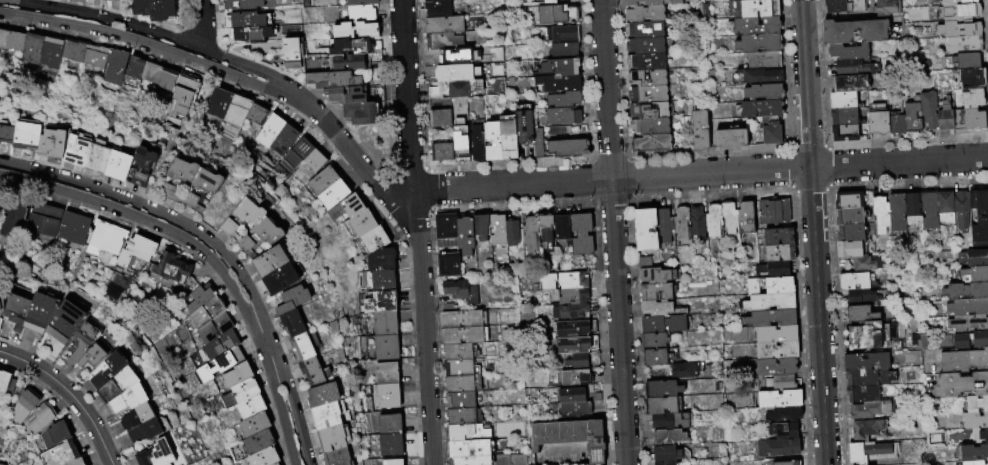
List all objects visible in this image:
building: (112, 0)
building: (433, 0)
building: (359, 2)
building: (548, 2)
building: (649, 2)
building: (956, 2)
building: (241, 5)
building: (844, 6)
building: (885, 7)
building: (437, 8)
building: (154, 9)
building: (752, 9)
building: (959, 11)
building: (360, 13)
building: (643, 14)
building: (555, 15)
road: (200, 24)
building: (444, 25)
building: (248, 26)
building: (753, 26)
building: (958, 29)
building: (643, 30)
road: (151, 31)
building: (855, 31)
building: (367, 34)
building: (564, 35)
building: (3, 39)
building: (443, 41)
building: (15, 42)
road: (145, 43)
building: (756, 43)
building: (963, 44)
building: (644, 45)
building: (32, 49)
building: (848, 50)
building: (72, 51)
building: (563, 51)
building: (50, 52)
building: (293, 52)
building: (458, 55)
building: (94, 56)
building: (760, 60)
building: (966, 60)
building: (645, 62)
building: (346, 63)
building: (114, 66)
building: (133, 66)
building: (853, 67)
building: (559, 68)
building: (456, 72)
building: (151, 73)
building: (760, 77)
building: (645, 78)
building: (970, 78)
building: (167, 79)
building: (331, 80)
building: (849, 83)
building: (557, 84)
building: (458, 89)
road: (605, 90)
building: (762, 93)
building: (646, 94)
building: (344, 95)
building: (971, 98)
building: (843, 99)
building: (563, 100)
building: (218, 103)
building: (758, 109)
building: (237, 110)
building: (647, 110)
building: (928, 110)
building: (359, 113)
building: (256, 115)
building: (844, 115)
building: (439, 117)
building: (561, 117)
building: (912, 117)
building: (973, 118)
building: (944, 119)
building: (877, 120)
building: (896, 124)
building: (648, 126)
building: (523, 127)
building: (269, 130)
building: (698, 130)
building: (844, 132)
building: (6, 134)
building: (770, 134)
building: (26, 135)
building: (508, 136)
building: (729, 138)
building: (460, 139)
building: (283, 140)
building: (492, 140)
building: (537, 142)
building: (476, 143)
building: (650, 143)
building: (50, 146)
building: (567, 149)
building: (76, 150)
building: (441, 151)
building: (296, 154)
building: (98, 157)
building: (314, 160)
road: (899, 163)
building: (118, 165)
building: (141, 166)
road: (710, 174)
building: (179, 179)
building: (322, 180)
building: (202, 189)
road: (426, 190)
building: (333, 194)
building: (848, 200)
building: (345, 207)
building: (945, 207)
road: (153, 209)
building: (912, 209)
building: (771, 210)
building: (961, 210)
building: (928, 212)
building: (896, 213)
building: (880, 215)
building: (849, 216)
building: (979, 216)
building: (729, 217)
building: (746, 217)
building: (31, 219)
building: (242, 219)
building: (713, 220)
road: (145, 221)
building: (696, 221)
building: (361, 222)
building: (680, 222)
building: (664, 225)
building: (73, 227)
building: (480, 227)
building: (544, 228)
building: (497, 229)
building: (562, 229)
building: (446, 230)
building: (646, 230)
road: (419, 232)
road: (813, 232)
building: (849, 232)
building: (511, 233)
building: (529, 234)
building: (580, 234)
building: (464, 235)
building: (260, 236)
building: (778, 236)
building: (105, 239)
building: (374, 239)
building: (848, 249)
building: (135, 251)
building: (779, 253)
building: (973, 258)
building: (381, 259)
building: (270, 261)
building: (643, 263)
building: (447, 264)
building: (868, 264)
building: (171, 267)
building: (516, 269)
building: (772, 269)
building: (976, 274)
building: (657, 276)
building: (281, 279)
building: (382, 280)
building: (569, 281)
building: (853, 281)
building: (544, 282)
building: (769, 286)
building: (967, 290)
building: (459, 291)
building: (655, 292)
building: (570, 297)
building: (860, 297)
building: (199, 298)
building: (293, 299)
building: (379, 301)
building: (769, 301)
building: (1, 302)
building: (968, 307)
building: (447, 308)
building: (659, 309)
building: (16, 311)
building: (40, 312)
building: (206, 313)
building: (568, 313)
building: (862, 315)
building: (770, 317)
building: (461, 319)
building: (0, 321)
building: (65, 321)
road: (618, 322)
building: (292, 323)
building: (384, 323)
building: (967, 323)
building: (663, 324)
building: (214, 328)
building: (571, 329)
building: (775, 335)
building: (462, 336)
building: (873, 337)
building: (980, 338)
building: (654, 341)
building: (960, 341)
building: (82, 342)
road: (264, 342)
building: (221, 344)
building: (573, 345)
building: (301, 347)
building: (385, 347)
building: (776, 351)
building: (458, 352)
building: (93, 355)
building: (655, 357)
building: (964, 361)
building: (576, 362)
building: (866, 362)
building: (220, 364)
building: (775, 367)
building: (460, 368)
building: (106, 370)
building: (683, 370)
building: (311, 371)
building: (386, 372)
building: (237, 374)
building: (870, 377)
building: (572, 378)
building: (6, 381)
building: (780, 382)
building: (118, 384)
building: (462, 384)
building: (963, 384)
building: (662, 389)
building: (240, 392)
road: (69, 394)
building: (862, 394)
building: (322, 395)
building: (387, 395)
building: (568, 396)
building: (129, 398)
building: (779, 398)
building: (460, 400)
building: (977, 403)
building: (662, 406)
building: (23, 407)
building: (250, 407)
building: (571, 410)
building: (870, 410)
road: (295, 412)
building: (137, 415)
road: (281, 415)
building: (329, 415)
building: (783, 415)
building: (40, 417)
building: (464, 417)
building: (975, 420)
building: (670, 421)
building: (389, 424)
building: (254, 425)
building: (866, 428)
building: (145, 431)
building: (580, 431)
building: (784, 431)
building: (566, 432)
building: (469, 433)
building: (552, 433)
building: (55, 434)
building: (983, 435)
building: (537, 436)
building: (333, 437)
building: (668, 437)
building: (594, 442)
building: (258, 443)
building: (390, 445)
building: (777, 447)
building: (470, 449)
building: (866, 451)
building: (60, 453)
building: (972, 453)
building: (155, 454)
parking lot: (561, 454)
building: (666, 454)
building: (264, 457)
building: (337, 457)
building: (507, 459)
building: (471, 460)
building: (75, 462)
building: (392, 462)
building: (670, 463)
building: (786, 463)
building: (974, 463)
building: (275, 464)
building: (591, 464)

